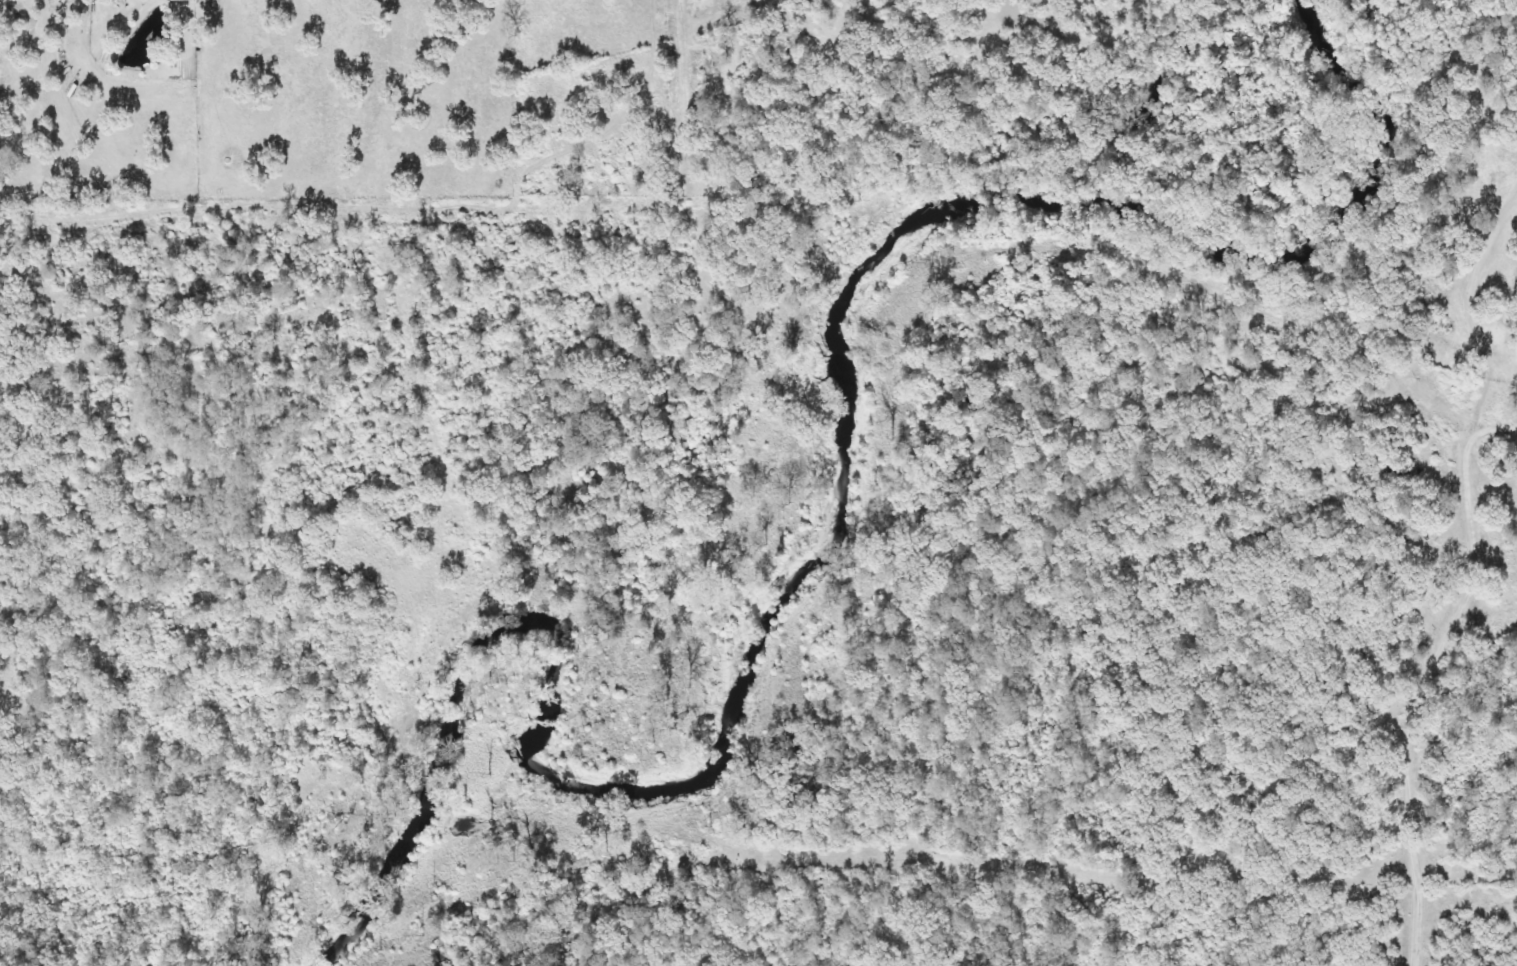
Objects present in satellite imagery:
building: (176, 1)
road: (1429, 566)

